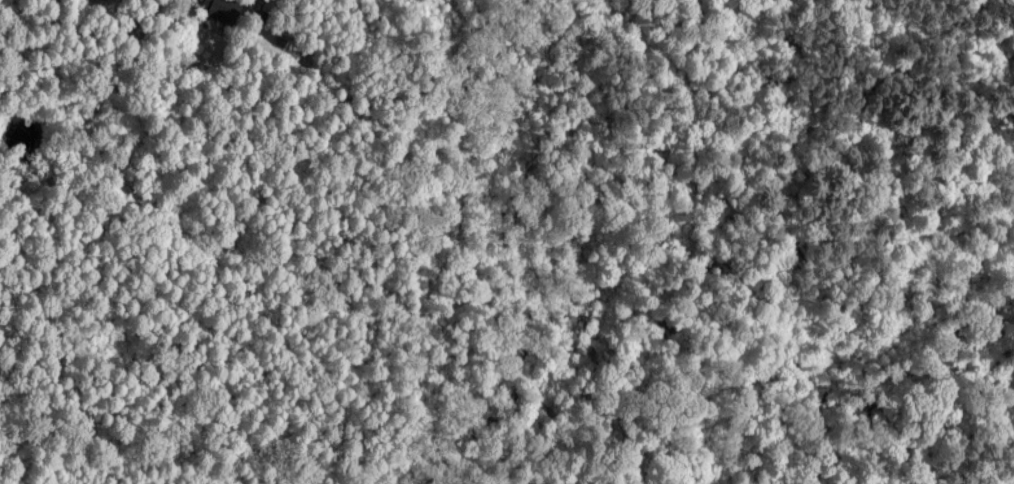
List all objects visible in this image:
building: (221, 8)

